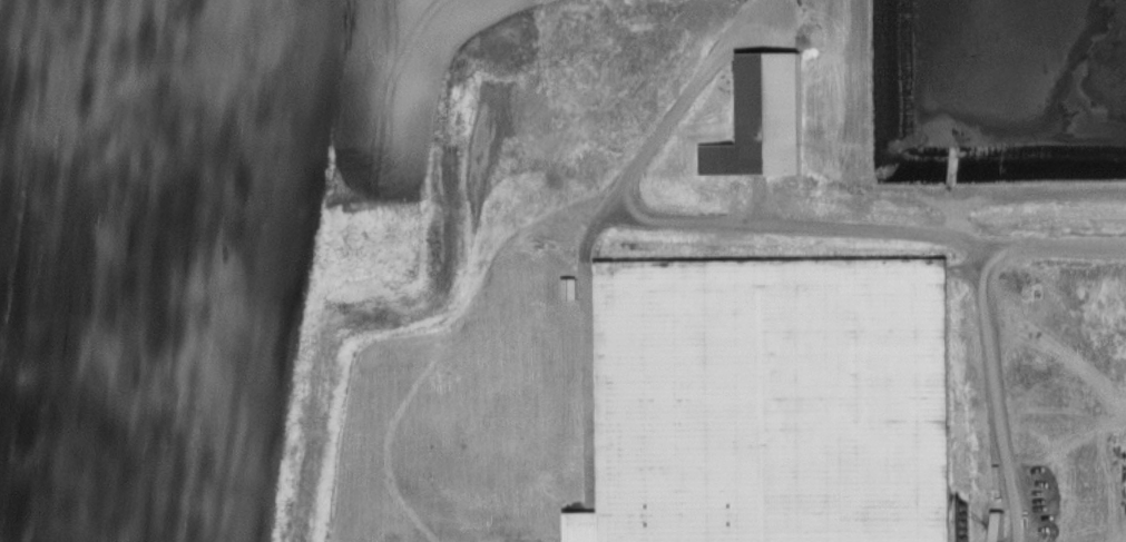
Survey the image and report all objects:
road: (668, 220)
road: (988, 333)

